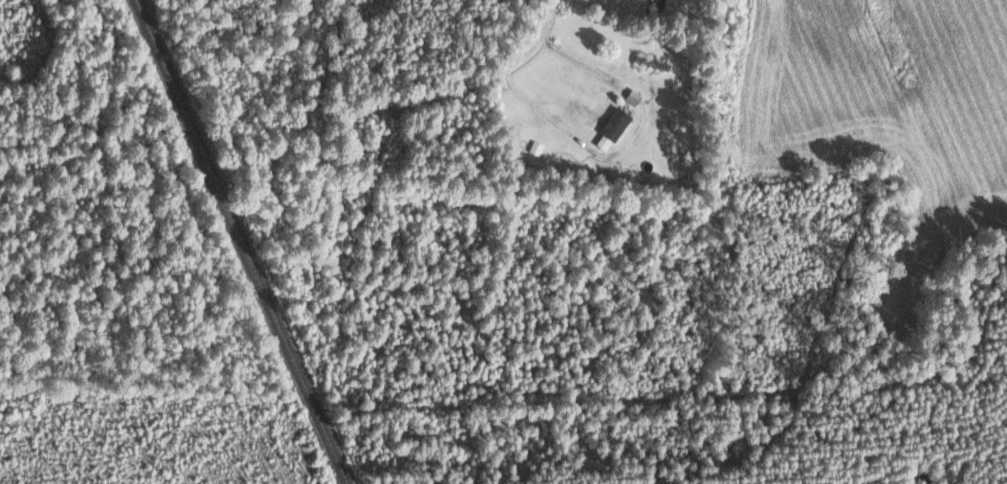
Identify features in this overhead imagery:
building: (659, 3)
road: (516, 63)
railway: (242, 241)

